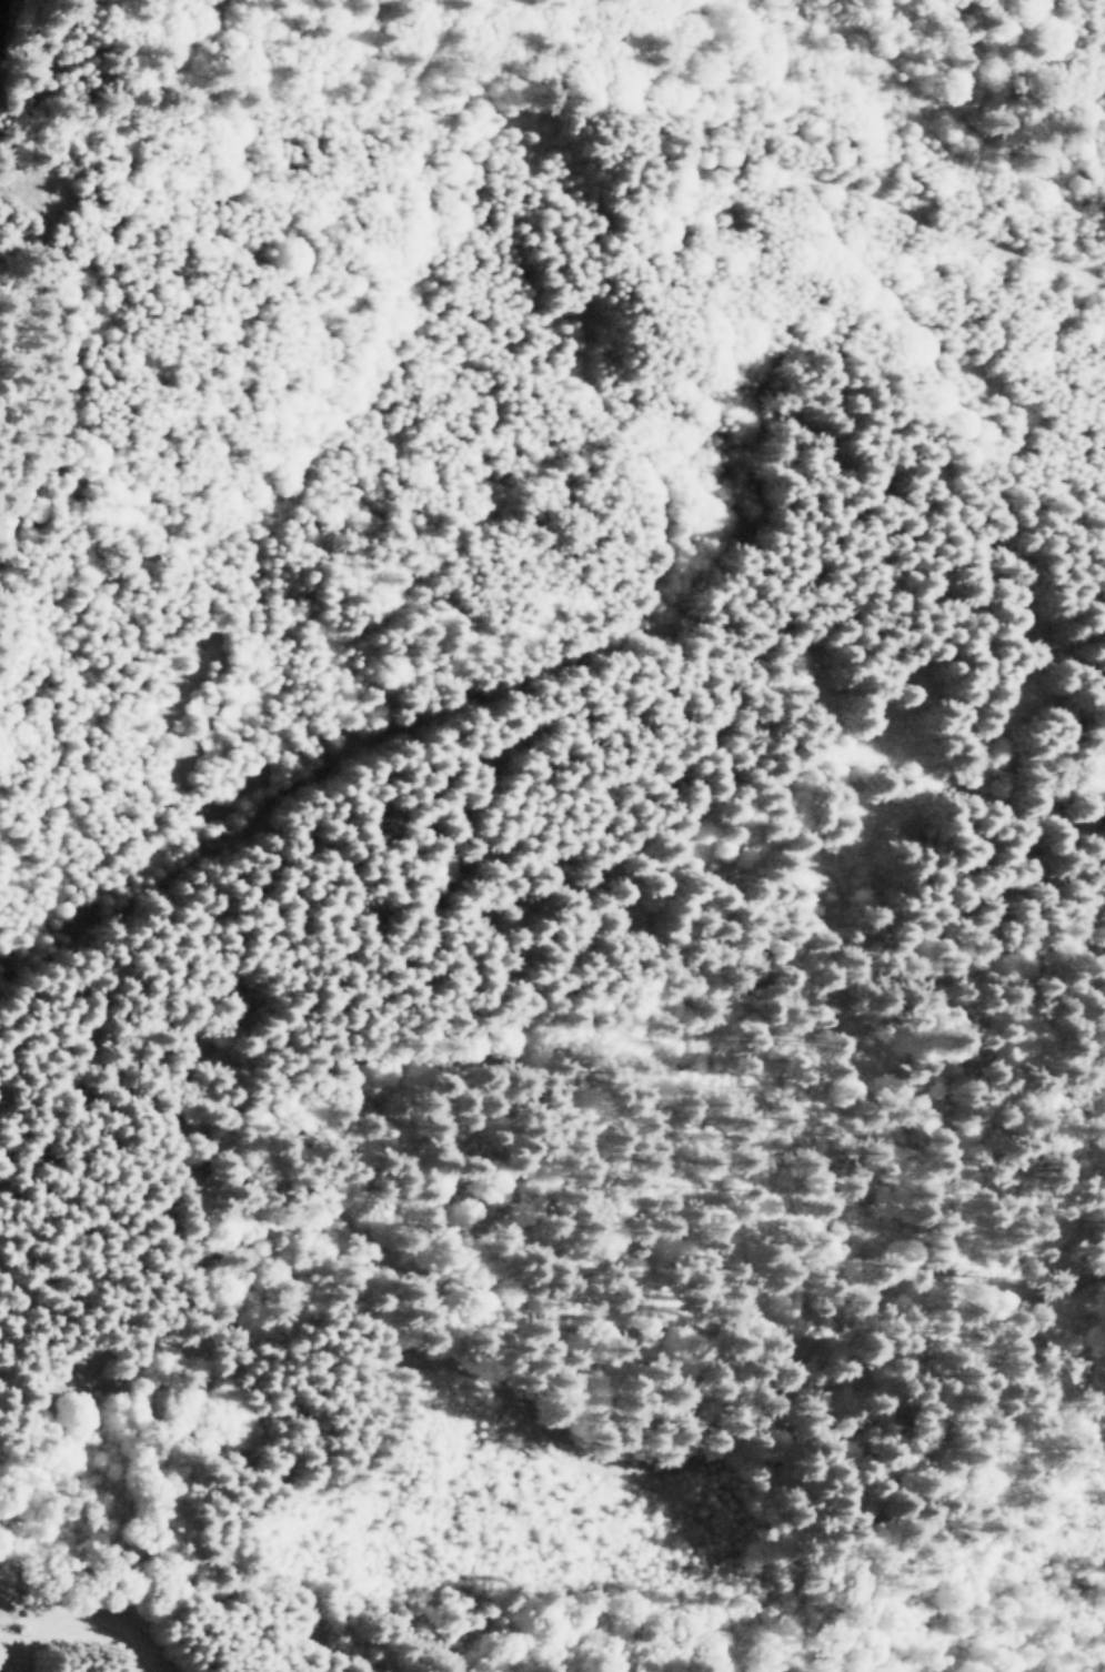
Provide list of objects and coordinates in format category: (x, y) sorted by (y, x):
road: (609, 633)

